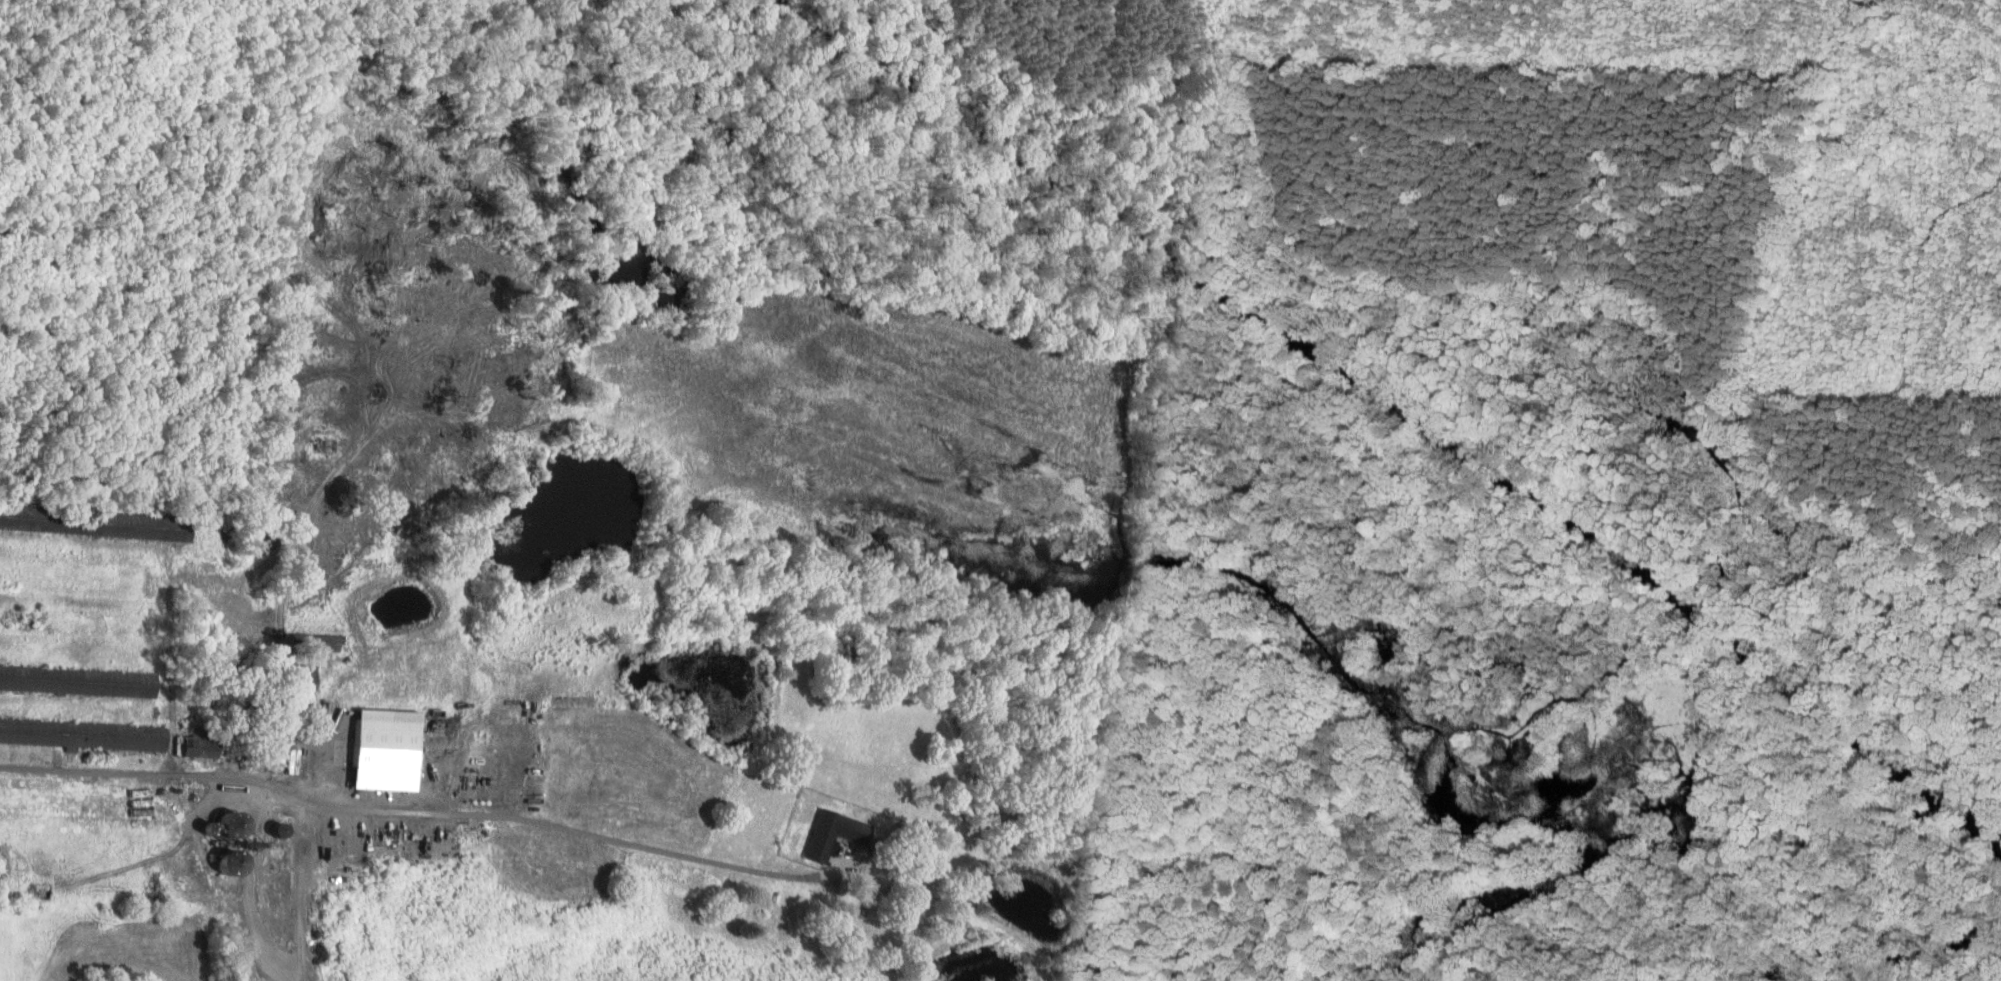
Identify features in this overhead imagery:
building: (315, 641)
building: (298, 674)
building: (75, 680)
building: (81, 734)
building: (195, 745)
building: (378, 748)
road: (121, 772)
road: (549, 824)
building: (829, 832)
road: (301, 891)

